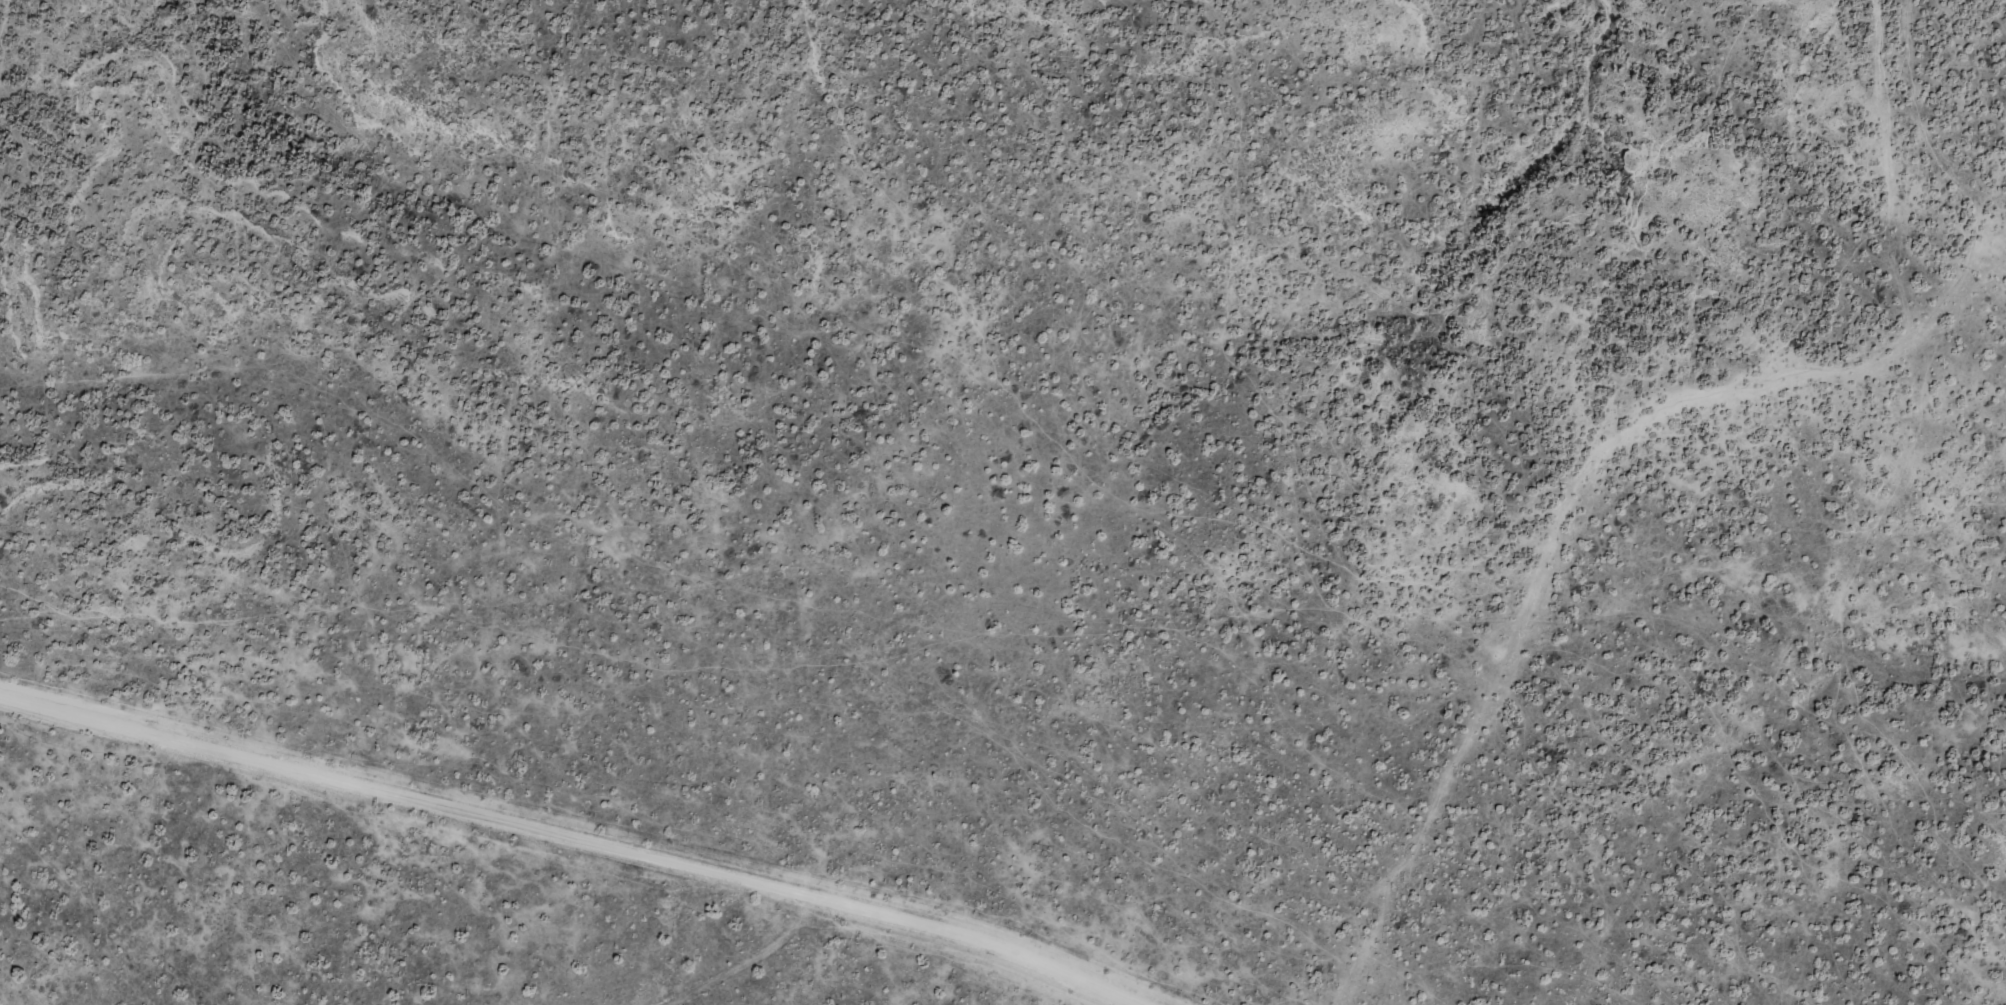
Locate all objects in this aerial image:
road: (565, 840)

